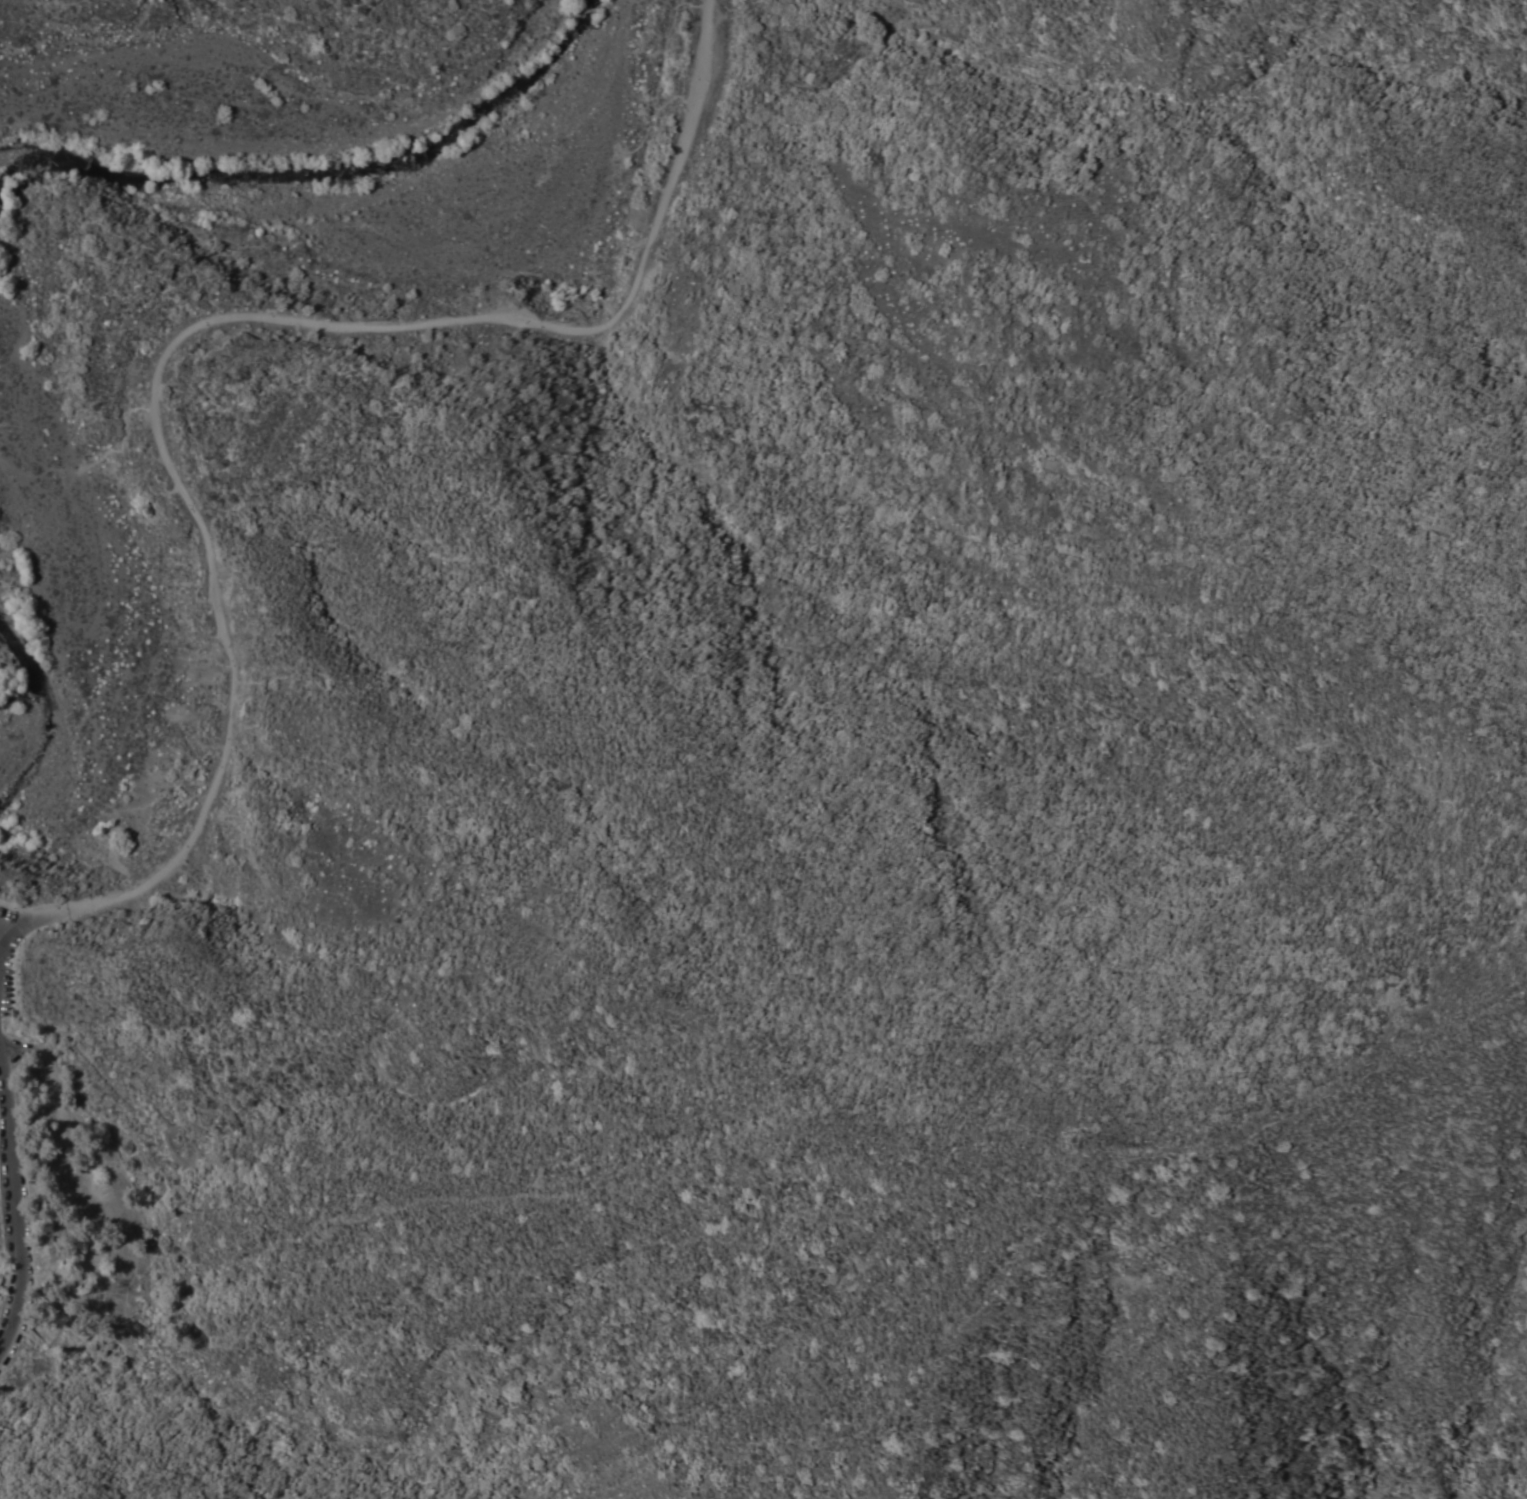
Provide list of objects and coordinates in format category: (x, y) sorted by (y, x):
river: (313, 164)
road: (226, 319)
river: (26, 641)
road: (28, 924)
road: (5, 931)
parking lot: (10, 958)
road: (18, 1200)

